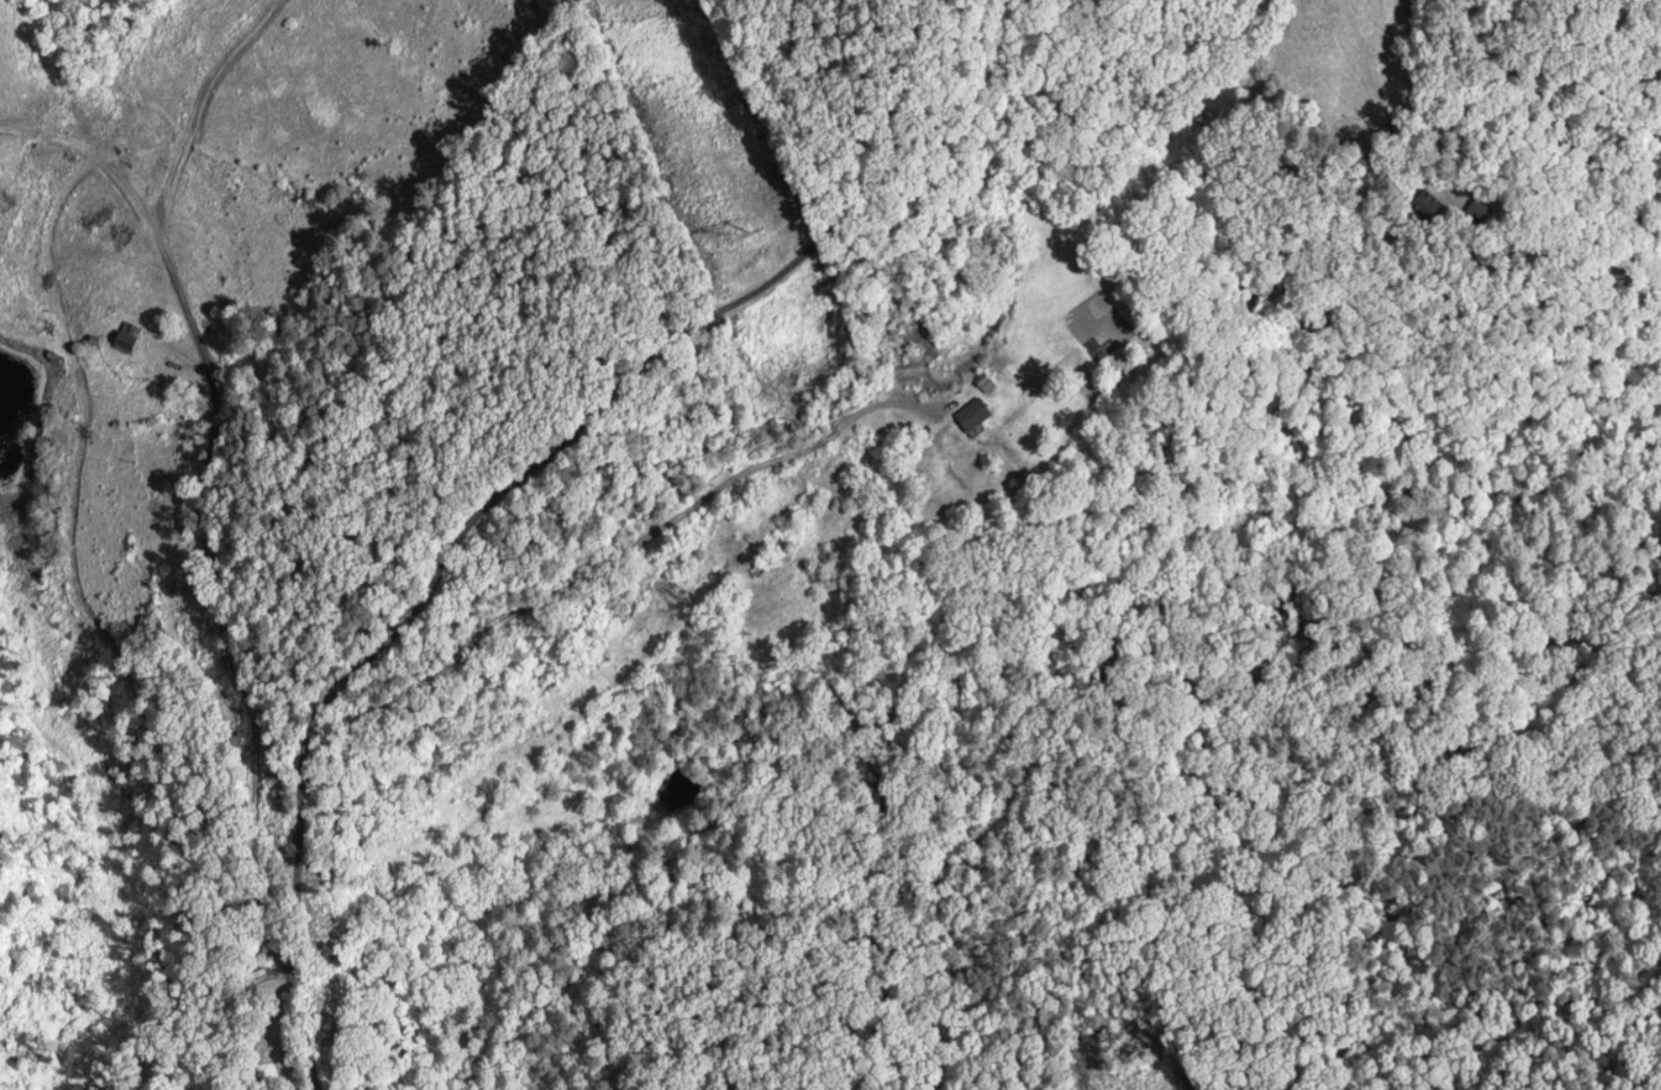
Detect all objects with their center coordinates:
power tower: (768, 231)
building: (125, 339)
building: (972, 418)
road: (488, 458)
road: (204, 583)
road: (537, 620)

